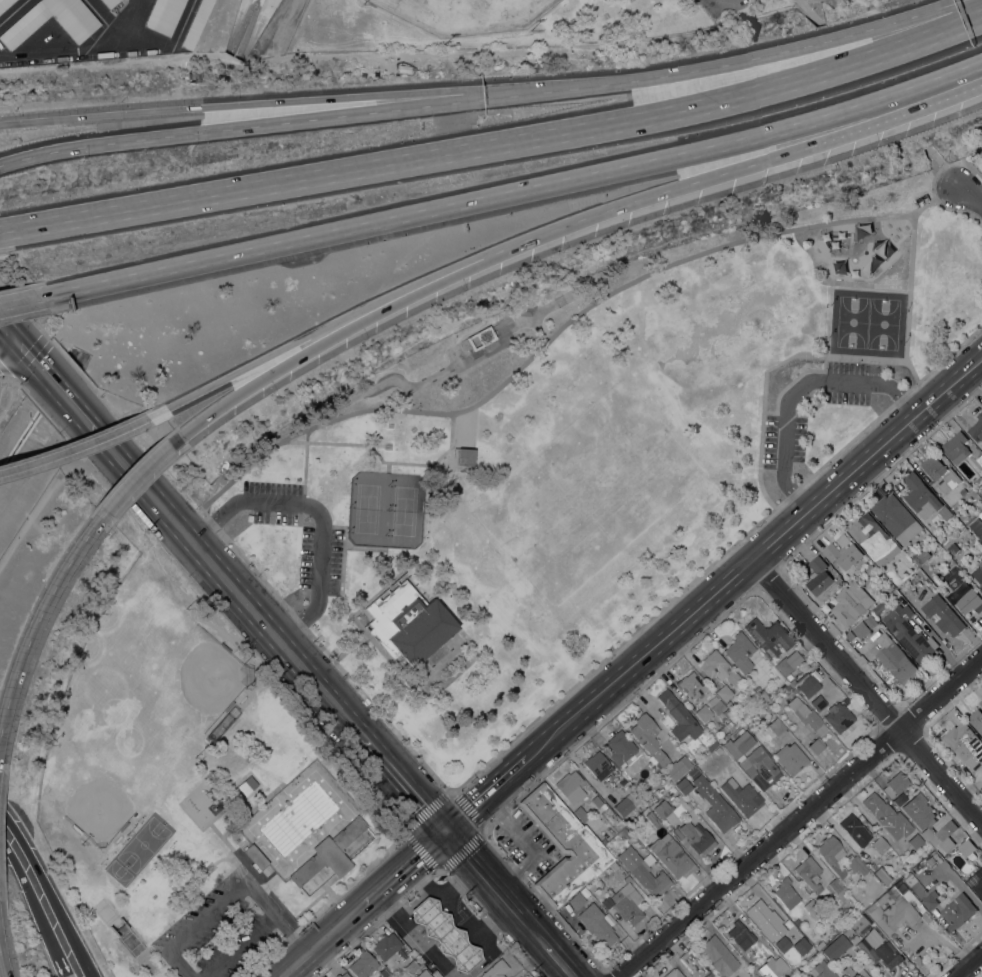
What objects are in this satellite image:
building: (108, 2)
building: (4, 4)
road: (134, 5)
parking lot: (712, 6)
road: (808, 12)
park: (467, 14)
building: (163, 15)
park: (508, 21)
building: (196, 23)
building: (79, 29)
road: (152, 41)
road: (811, 45)
road: (91, 48)
road: (326, 99)
road: (326, 116)
road: (496, 147)
building: (980, 153)
road: (939, 165)
road: (660, 191)
road: (522, 194)
road: (967, 194)
road: (908, 300)
road: (28, 302)
road: (29, 315)
park: (867, 323)
road: (552, 336)
building: (480, 337)
traffic signals: (18, 343)
road: (20, 345)
road: (9, 351)
park: (459, 354)
road: (72, 363)
road: (253, 363)
road: (765, 370)
road: (263, 376)
parking lot: (849, 382)
road: (798, 389)
road: (63, 392)
building: (977, 429)
parking lot: (782, 441)
road: (144, 442)
road: (81, 444)
building: (956, 448)
park: (588, 453)
building: (466, 456)
building: (979, 460)
road: (383, 461)
road: (305, 465)
building: (940, 473)
road: (133, 477)
building: (976, 482)
building: (962, 491)
building: (920, 496)
parking lot: (271, 500)
park: (385, 508)
road: (317, 513)
building: (945, 513)
building: (980, 515)
building: (896, 519)
building: (977, 527)
building: (873, 540)
building: (941, 540)
building: (936, 547)
building: (952, 548)
building: (843, 552)
road: (754, 557)
parking lot: (320, 558)
building: (921, 558)
road: (717, 559)
building: (925, 566)
building: (870, 570)
building: (977, 574)
building: (818, 576)
road: (222, 577)
building: (936, 582)
building: (944, 591)
building: (967, 599)
building: (849, 604)
building: (943, 615)
building: (870, 621)
building: (407, 623)
road: (35, 624)
building: (861, 630)
building: (909, 633)
building: (769, 636)
road: (324, 649)
building: (740, 651)
building: (895, 659)
building: (718, 667)
building: (785, 667)
park: (210, 678)
building: (792, 682)
building: (691, 685)
building: (808, 686)
building: (788, 687)
building: (724, 692)
road: (867, 692)
building: (762, 693)
building: (818, 702)
building: (729, 704)
building: (720, 708)
building: (704, 713)
building: (806, 715)
building: (679, 716)
building: (838, 716)
building: (976, 720)
building: (772, 723)
building: (645, 732)
building: (738, 744)
building: (712, 746)
building: (816, 746)
building: (965, 746)
building: (620, 747)
building: (718, 750)
building: (790, 757)
building: (660, 758)
building: (236, 760)
building: (595, 762)
building: (759, 764)
building: (677, 767)
road: (404, 781)
building: (895, 784)
building: (683, 785)
building: (570, 786)
building: (665, 788)
road: (449, 790)
park: (191, 792)
road: (486, 794)
building: (741, 796)
building: (897, 800)
building: (628, 802)
building: (713, 802)
building: (601, 804)
park: (97, 807)
building: (663, 808)
building: (878, 809)
building: (581, 813)
road: (800, 815)
building: (653, 819)
building: (929, 822)
building: (902, 825)
building: (855, 828)
traffic signals: (446, 830)
building: (914, 830)
building: (679, 832)
building: (625, 834)
building: (904, 836)
building: (702, 840)
building: (563, 845)
building: (883, 848)
building: (938, 848)
building: (966, 848)
park: (138, 849)
building: (329, 853)
building: (831, 854)
building: (672, 856)
building: (255, 857)
building: (855, 864)
road: (403, 868)
building: (643, 871)
road: (483, 872)
building: (605, 872)
building: (809, 873)
building: (882, 875)
road: (23, 877)
building: (627, 878)
road: (44, 881)
road: (458, 882)
building: (976, 882)
building: (914, 884)
building: (834, 886)
building: (786, 893)
road: (227, 898)
building: (929, 900)
road: (413, 901)
building: (577, 901)
building: (606, 901)
road: (442, 902)
building: (628, 903)
building: (811, 908)
building: (893, 909)
building: (957, 912)
building: (766, 919)
building: (863, 919)
building: (597, 924)
parking lot: (221, 928)
road: (533, 929)
building: (445, 933)
building: (746, 937)
road: (320, 941)
building: (385, 945)
building: (801, 945)
building: (819, 945)
road: (239, 946)
road: (58, 947)
building: (836, 947)
building: (712, 949)
building: (878, 950)
road: (559, 960)
building: (780, 961)
building: (741, 962)
building: (693, 964)
road: (3, 965)
building: (363, 965)
building: (410, 965)
road: (968, 965)
road: (87, 966)
building: (495, 969)
building: (784, 969)
building: (822, 970)
building: (383, 972)
road: (452, 972)
building: (853, 972)
building: (673, 973)
building: (423, 974)
road: (70, 975)
building: (342, 975)
building: (793, 975)

